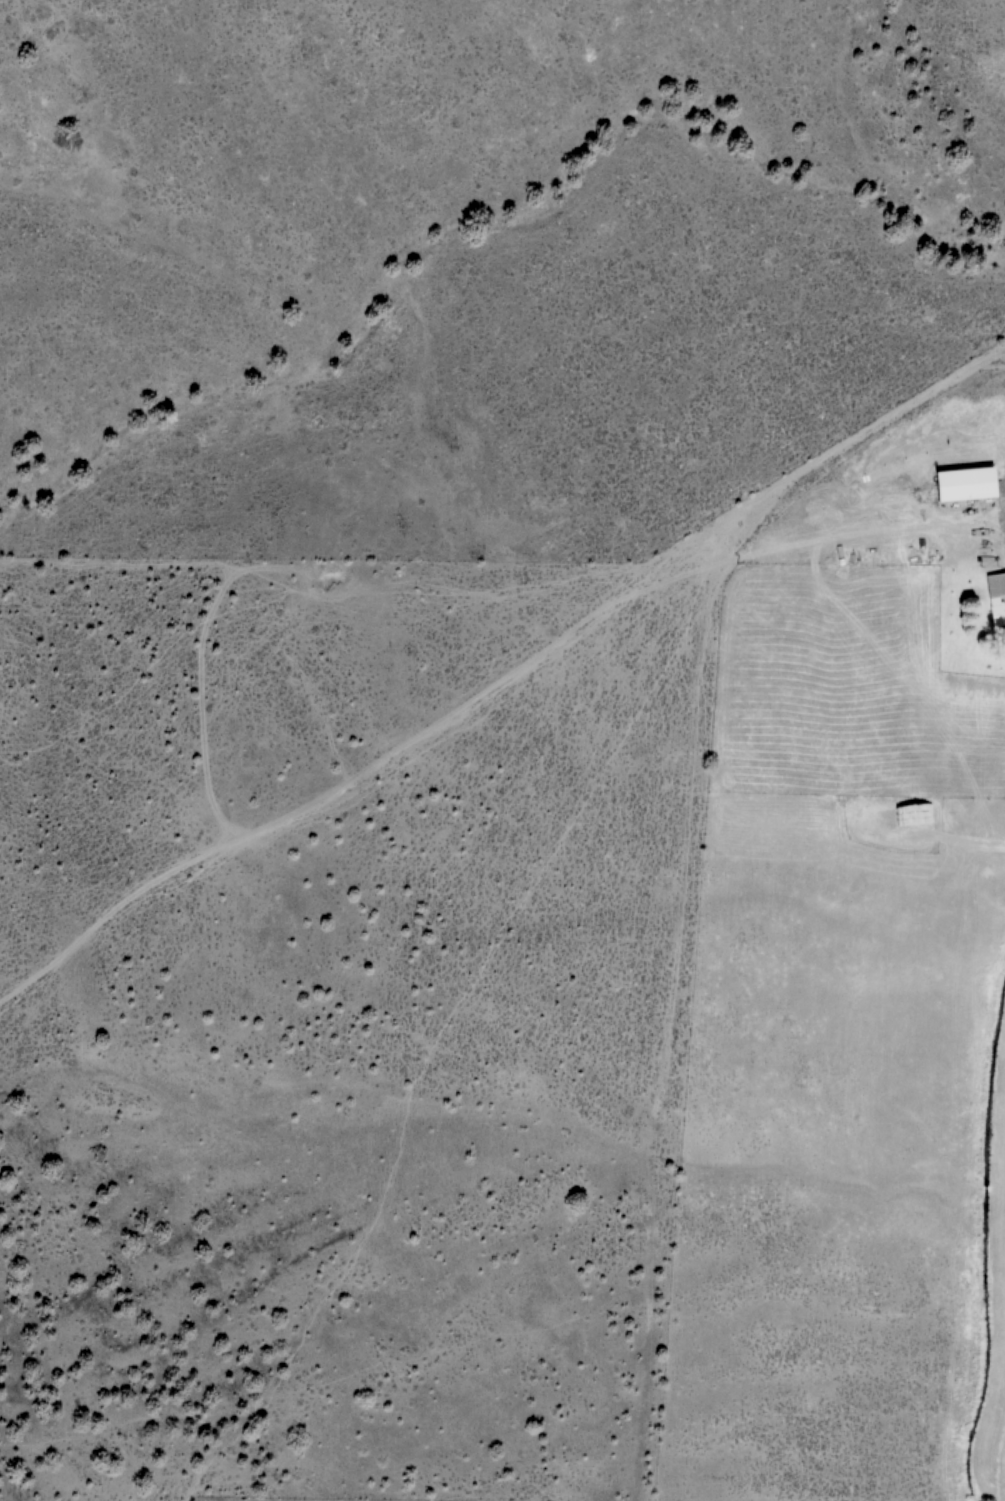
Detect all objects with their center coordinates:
building: (997, 598)
road: (473, 697)

